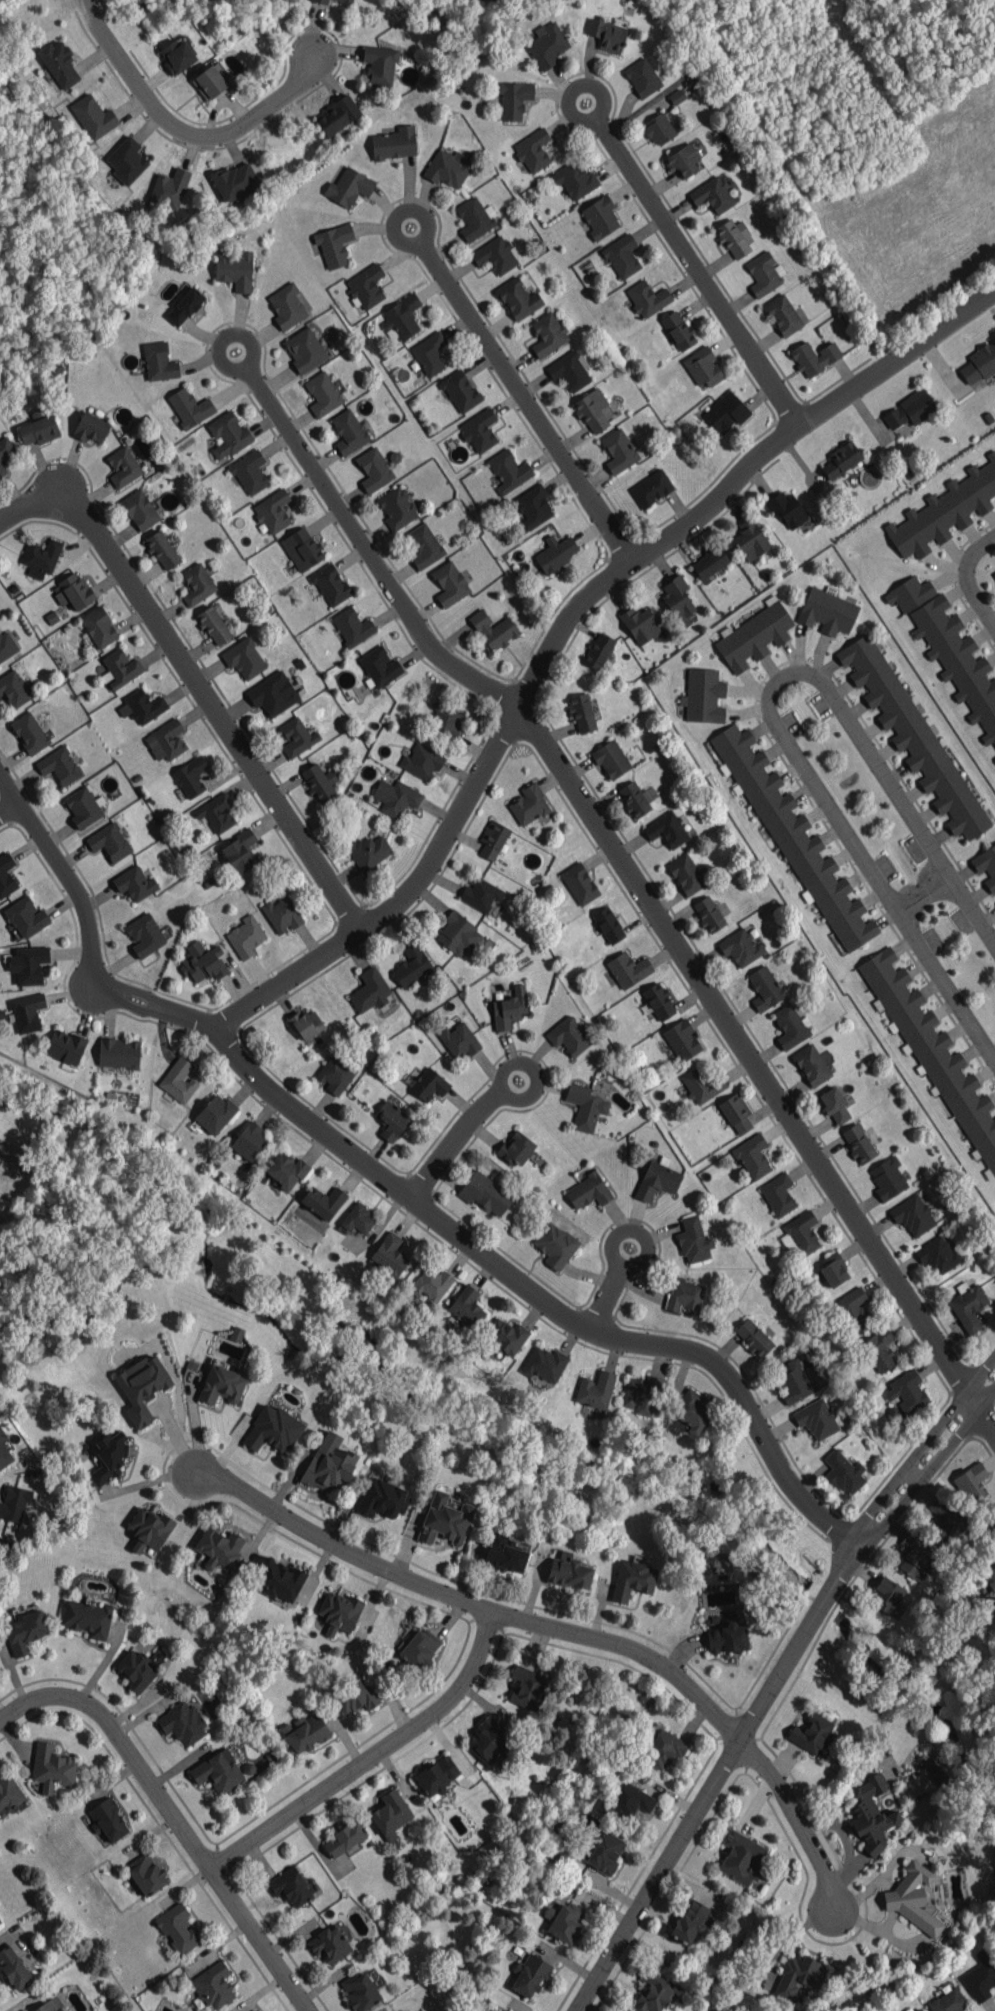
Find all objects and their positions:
building: (321, 1)
building: (345, 1)
building: (607, 35)
building: (547, 44)
building: (176, 55)
building: (59, 64)
building: (379, 64)
building: (642, 77)
building: (210, 81)
road: (590, 88)
building: (514, 99)
building: (337, 115)
building: (93, 116)
building: (658, 129)
road: (185, 134)
building: (394, 143)
building: (533, 150)
building: (126, 160)
building: (682, 160)
building: (449, 167)
building: (575, 178)
building: (235, 181)
building: (348, 186)
building: (169, 188)
building: (712, 194)
road: (410, 214)
building: (475, 217)
building: (600, 217)
building: (733, 237)
building: (334, 245)
building: (496, 255)
building: (622, 255)
building: (234, 269)
building: (764, 272)
road: (701, 275)
building: (365, 286)
building: (518, 298)
building: (647, 298)
building: (184, 306)
building: (286, 306)
building: (783, 315)
building: (401, 317)
building: (679, 330)
building: (548, 333)
road: (249, 340)
building: (304, 349)
building: (429, 353)
building: (814, 356)
building: (158, 361)
building: (979, 363)
building: (702, 366)
building: (569, 369)
building: (460, 390)
building: (322, 393)
road: (530, 405)
building: (190, 407)
building: (591, 409)
building: (911, 409)
building: (726, 411)
building: (38, 427)
building: (90, 427)
building: (479, 430)
building: (348, 431)
building: (228, 434)
building: (618, 450)
building: (5, 452)
building: (841, 459)
building: (122, 466)
building: (373, 469)
building: (508, 470)
building: (250, 471)
building: (650, 487)
building: (532, 506)
building: (397, 507)
building: (786, 507)
building: (139, 509)
building: (944, 510)
building: (272, 511)
building: (750, 539)
building: (424, 545)
building: (301, 548)
building: (162, 549)
building: (555, 553)
road: (371, 556)
building: (40, 558)
building: (709, 562)
building: (994, 573)
road: (967, 576)
building: (450, 582)
building: (197, 584)
building: (330, 584)
building: (73, 591)
building: (909, 593)
building: (678, 601)
building: (827, 611)
building: (639, 623)
building: (213, 625)
road: (561, 625)
building: (99, 626)
building: (352, 626)
building: (493, 629)
building: (753, 635)
building: (6, 644)
building: (598, 650)
building: (2, 657)
building: (244, 658)
building: (959, 663)
building: (379, 666)
building: (121, 667)
road: (196, 685)
building: (13, 688)
building: (0, 693)
building: (273, 693)
building: (703, 695)
building: (141, 706)
building: (582, 712)
road: (773, 717)
building: (445, 719)
building: (29, 732)
building: (911, 733)
building: (296, 736)
building: (166, 740)
building: (610, 758)
building: (421, 761)
building: (58, 765)
building: (190, 776)
building: (318, 781)
building: (395, 797)
building: (635, 799)
road: (8, 804)
building: (529, 804)
building: (83, 807)
building: (216, 812)
building: (667, 829)
building: (493, 839)
building: (794, 839)
building: (109, 841)
building: (240, 851)
building: (368, 852)
building: (987, 864)
building: (5, 873)
building: (686, 873)
building: (134, 883)
building: (579, 883)
building: (480, 893)
road: (925, 893)
building: (708, 913)
building: (281, 914)
building: (26, 916)
building: (608, 924)
building: (458, 933)
building: (144, 935)
building: (245, 936)
building: (740, 946)
building: (200, 963)
building: (28, 964)
building: (411, 965)
building: (628, 968)
building: (764, 987)
building: (369, 990)
building: (659, 1000)
building: (509, 1009)
building: (27, 1011)
building: (306, 1023)
building: (790, 1026)
building: (568, 1036)
building: (459, 1040)
building: (682, 1040)
building: (65, 1046)
building: (118, 1052)
building: (934, 1054)
road: (748, 1055)
road: (532, 1062)
building: (811, 1064)
building: (336, 1072)
building: (178, 1080)
building: (429, 1084)
building: (701, 1084)
building: (833, 1104)
building: (585, 1106)
building: (736, 1112)
building: (215, 1113)
building: (390, 1119)
building: (248, 1140)
road: (451, 1143)
building: (858, 1143)
building: (515, 1148)
building: (752, 1155)
building: (285, 1171)
building: (887, 1178)
building: (657, 1179)
road: (397, 1191)
building: (587, 1191)
building: (485, 1193)
building: (778, 1194)
building: (322, 1200)
building: (912, 1214)
building: (358, 1218)
building: (800, 1233)
building: (693, 1240)
building: (555, 1244)
road: (649, 1249)
building: (937, 1254)
building: (388, 1255)
building: (833, 1269)
building: (431, 1284)
building: (684, 1294)
road: (604, 1302)
building: (967, 1306)
building: (466, 1308)
building: (851, 1309)
building: (506, 1335)
building: (753, 1337)
building: (879, 1350)
building: (544, 1364)
building: (792, 1381)
building: (221, 1384)
building: (142, 1387)
building: (595, 1389)
building: (906, 1392)
building: (642, 1394)
building: (692, 1411)
building: (816, 1418)
road: (986, 1418)
building: (273, 1429)
road: (924, 1443)
building: (108, 1456)
building: (330, 1463)
road: (931, 1465)
building: (844, 1472)
building: (970, 1482)
building: (383, 1497)
building: (14, 1502)
building: (940, 1518)
building: (444, 1519)
building: (149, 1528)
building: (218, 1546)
building: (504, 1553)
building: (569, 1573)
building: (991, 1575)
building: (632, 1579)
building: (281, 1582)
building: (887, 1594)
building: (338, 1612)
building: (86, 1618)
road: (563, 1627)
building: (25, 1631)
road: (798, 1637)
building: (727, 1638)
building: (420, 1648)
building: (135, 1670)
building: (526, 1686)
building: (355, 1695)
building: (182, 1723)
building: (304, 1732)
building: (811, 1733)
building: (487, 1739)
building: (664, 1749)
road: (372, 1754)
building: (52, 1767)
building: (934, 1769)
building: (217, 1771)
building: (437, 1775)
building: (631, 1799)
building: (614, 1813)
road: (173, 1814)
building: (390, 1814)
building: (870, 1815)
building: (108, 1820)
building: (344, 1838)
building: (604, 1850)
building: (741, 1857)
building: (146, 1874)
road: (658, 1875)
building: (290, 1886)
building: (912, 1898)
building: (564, 1921)
building: (690, 1921)
building: (0, 1922)
building: (178, 1928)
building: (329, 1943)
building: (14, 1967)
building: (529, 1975)
building: (799, 1975)
building: (980, 1977)
building: (213, 1985)
building: (359, 1990)
building: (655, 1991)
building: (948, 1999)
building: (48, 2006)
building: (491, 2009)
building: (918, 2009)
building: (253, 2010)
building: (506, 2010)

